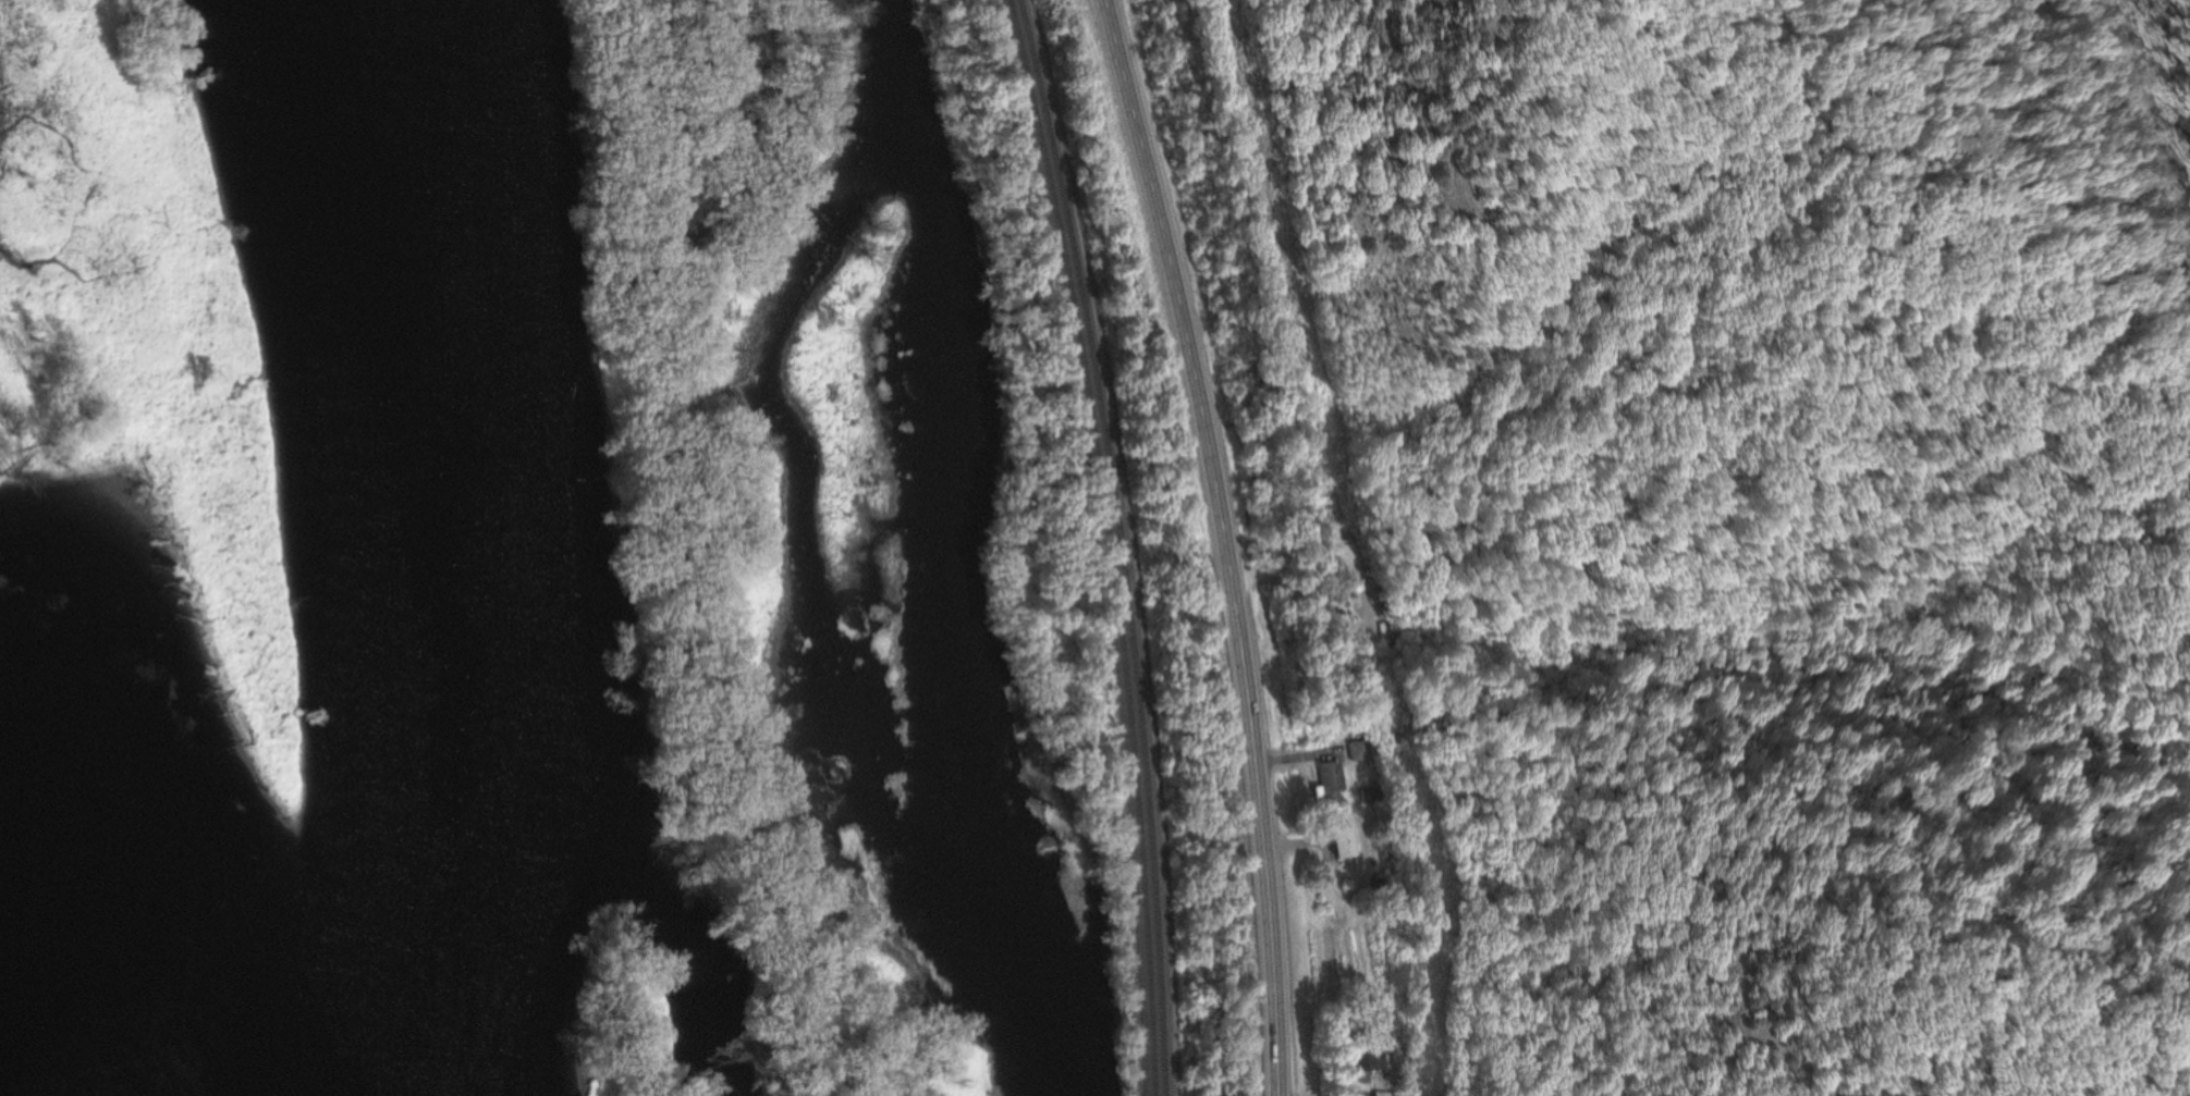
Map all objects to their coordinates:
railway: (1112, 543)
railway: (1125, 543)
road: (1224, 543)
river: (368, 546)
building: (1328, 780)
building: (1358, 1059)
building: (1388, 1093)

